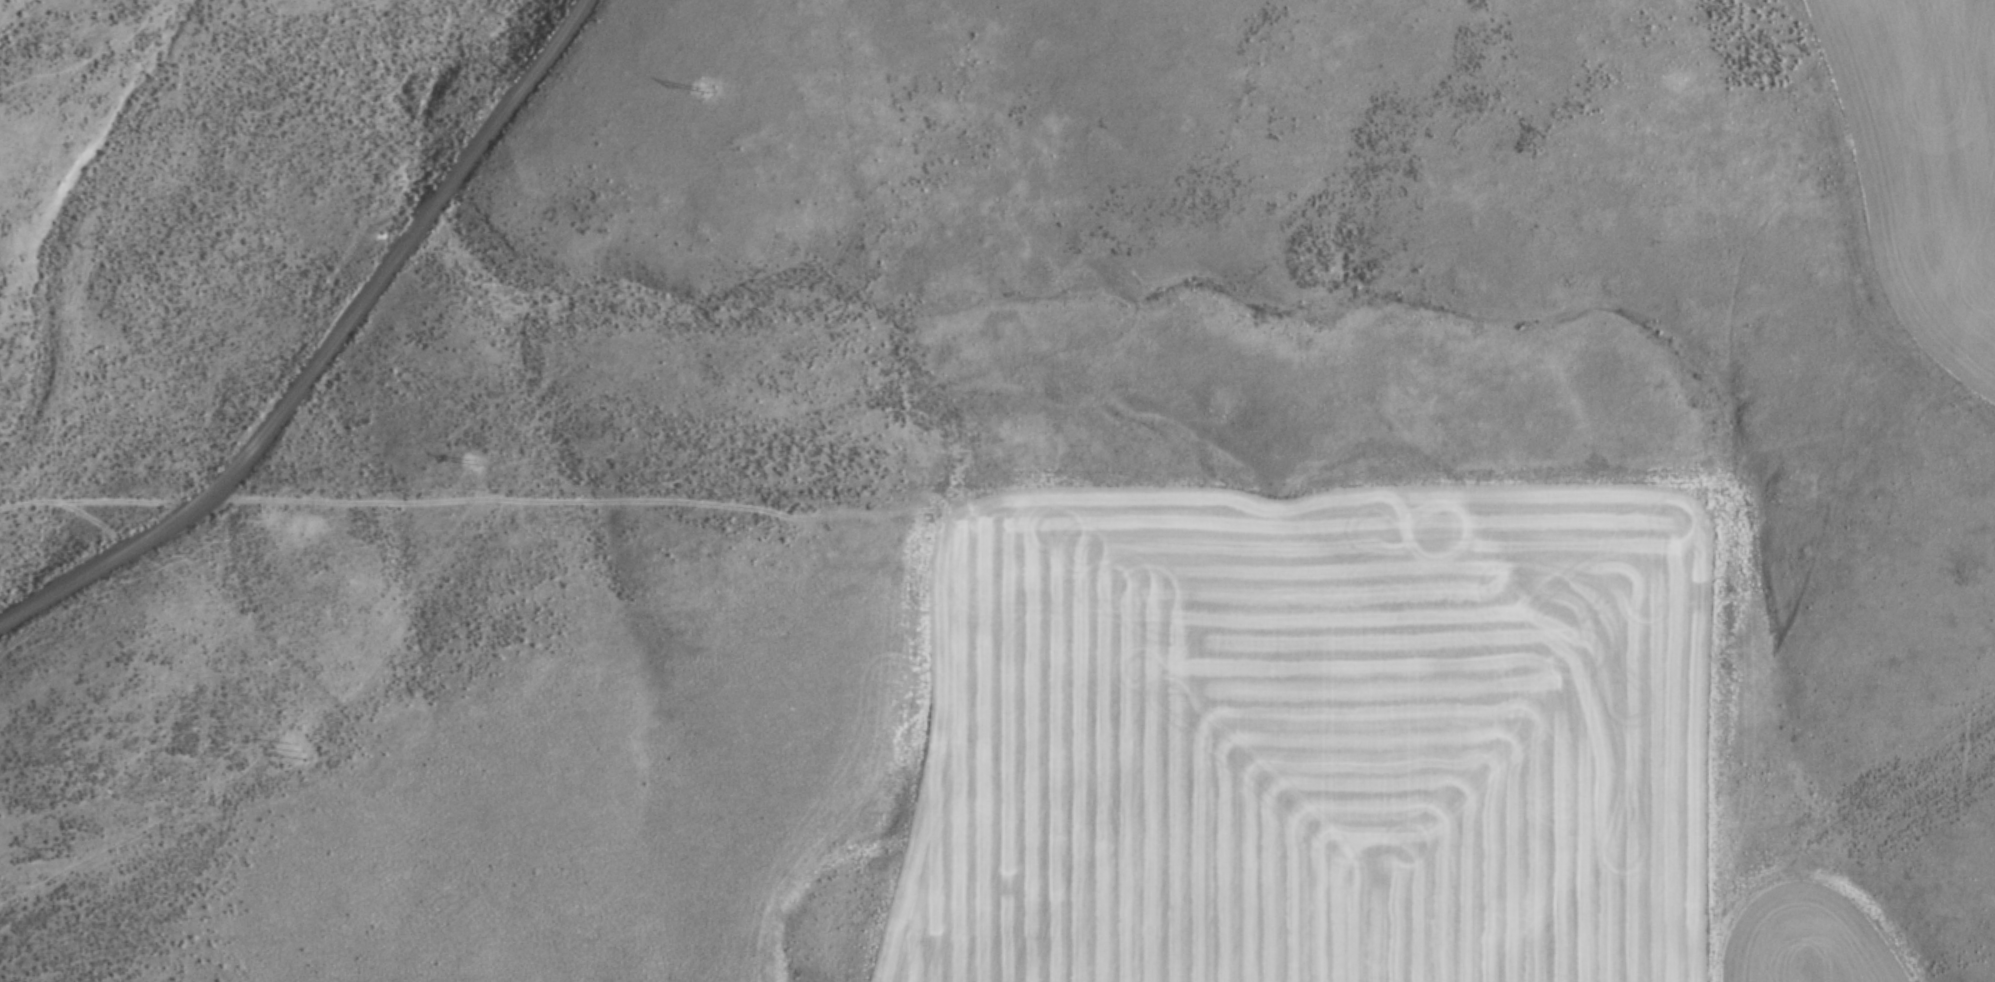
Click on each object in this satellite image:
road: (325, 349)

